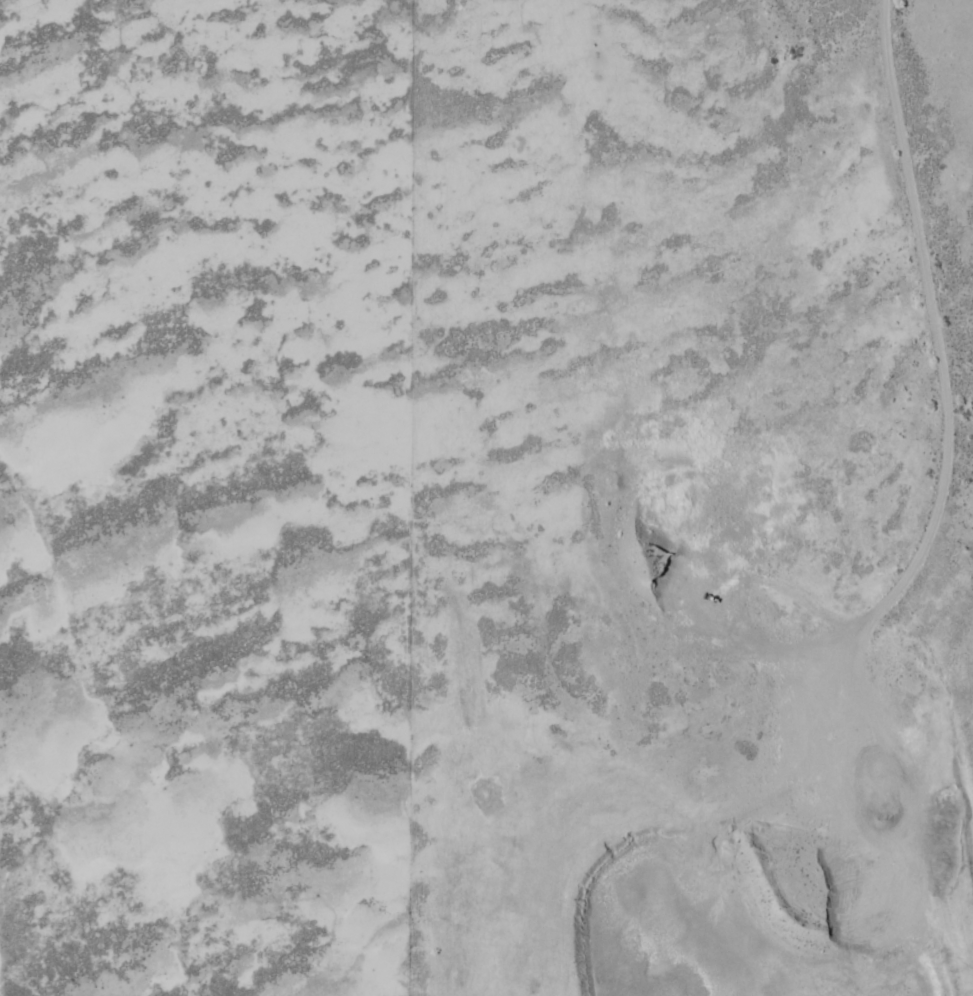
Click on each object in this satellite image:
road: (931, 309)

